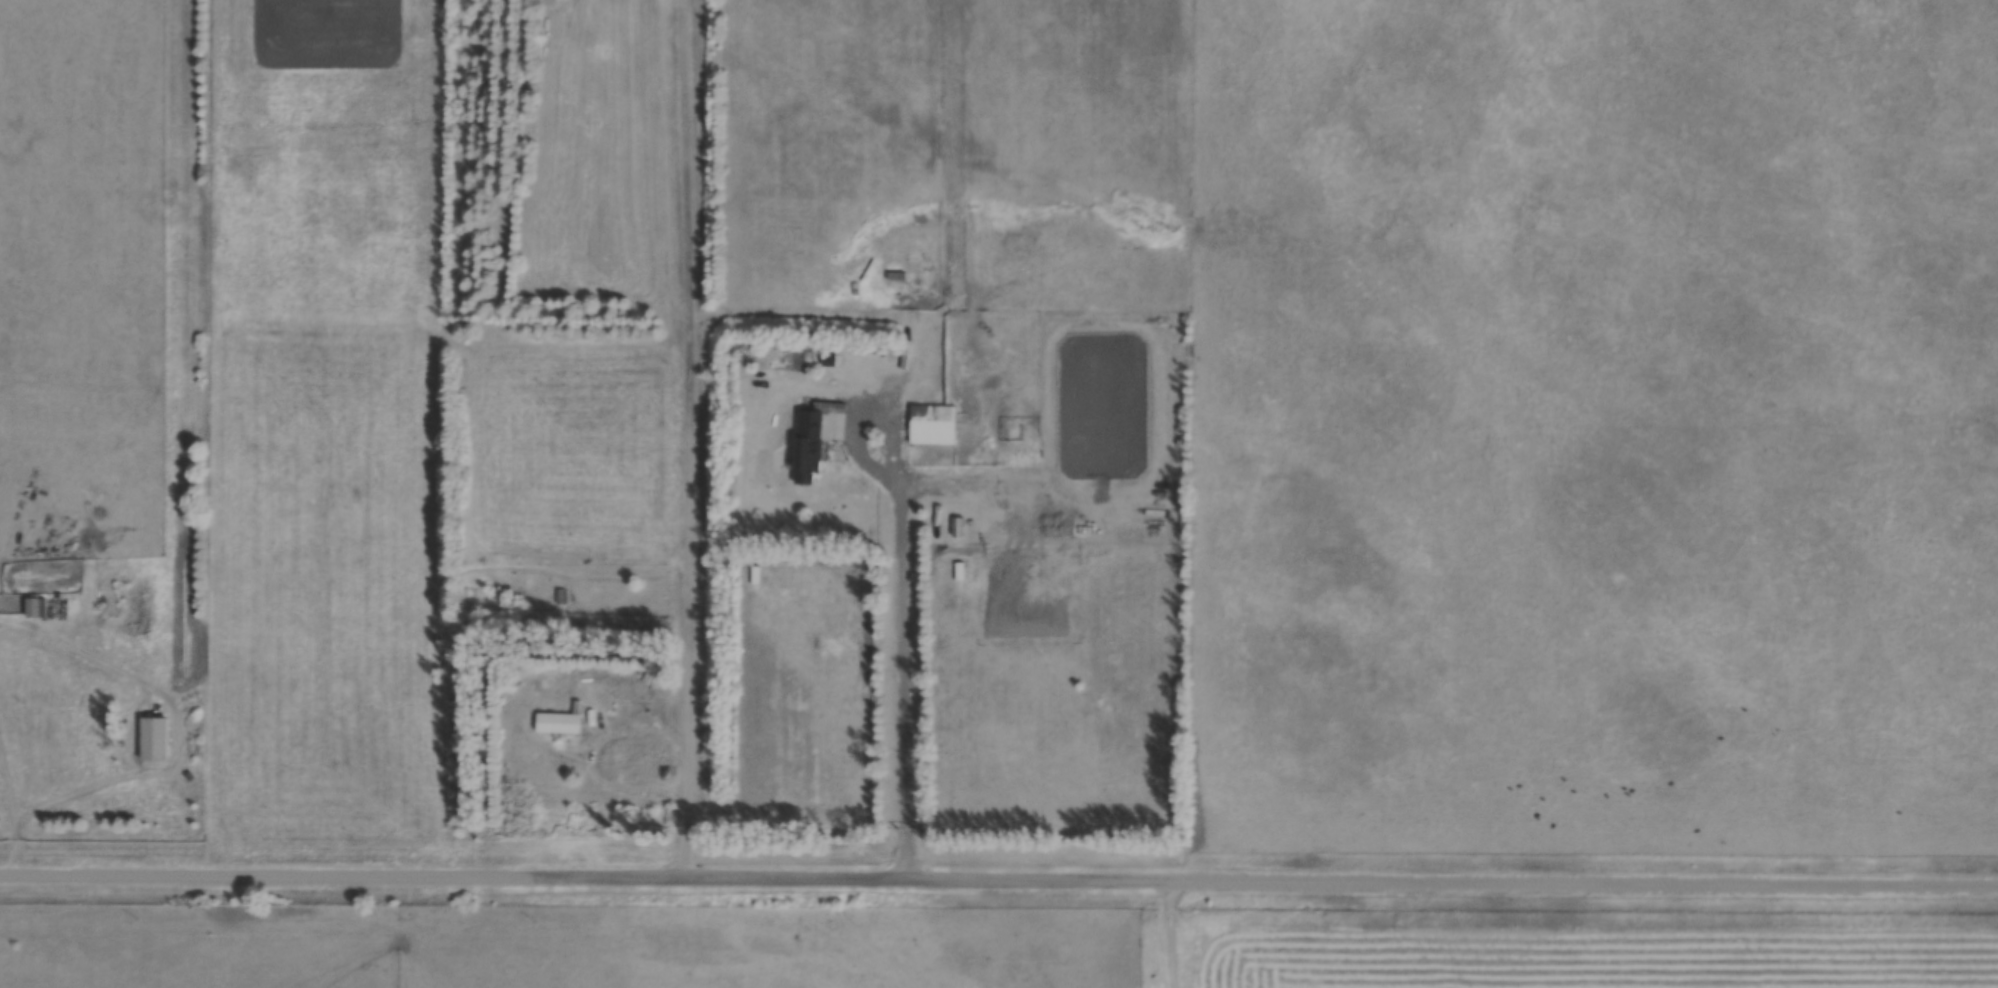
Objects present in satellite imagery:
building: (934, 424)
road: (689, 439)
building: (811, 444)
building: (959, 526)
building: (756, 575)
building: (513, 593)
building: (561, 600)
building: (34, 607)
road: (902, 638)
building: (561, 721)
building: (155, 738)
road: (593, 759)
road: (58, 797)
road: (999, 880)

